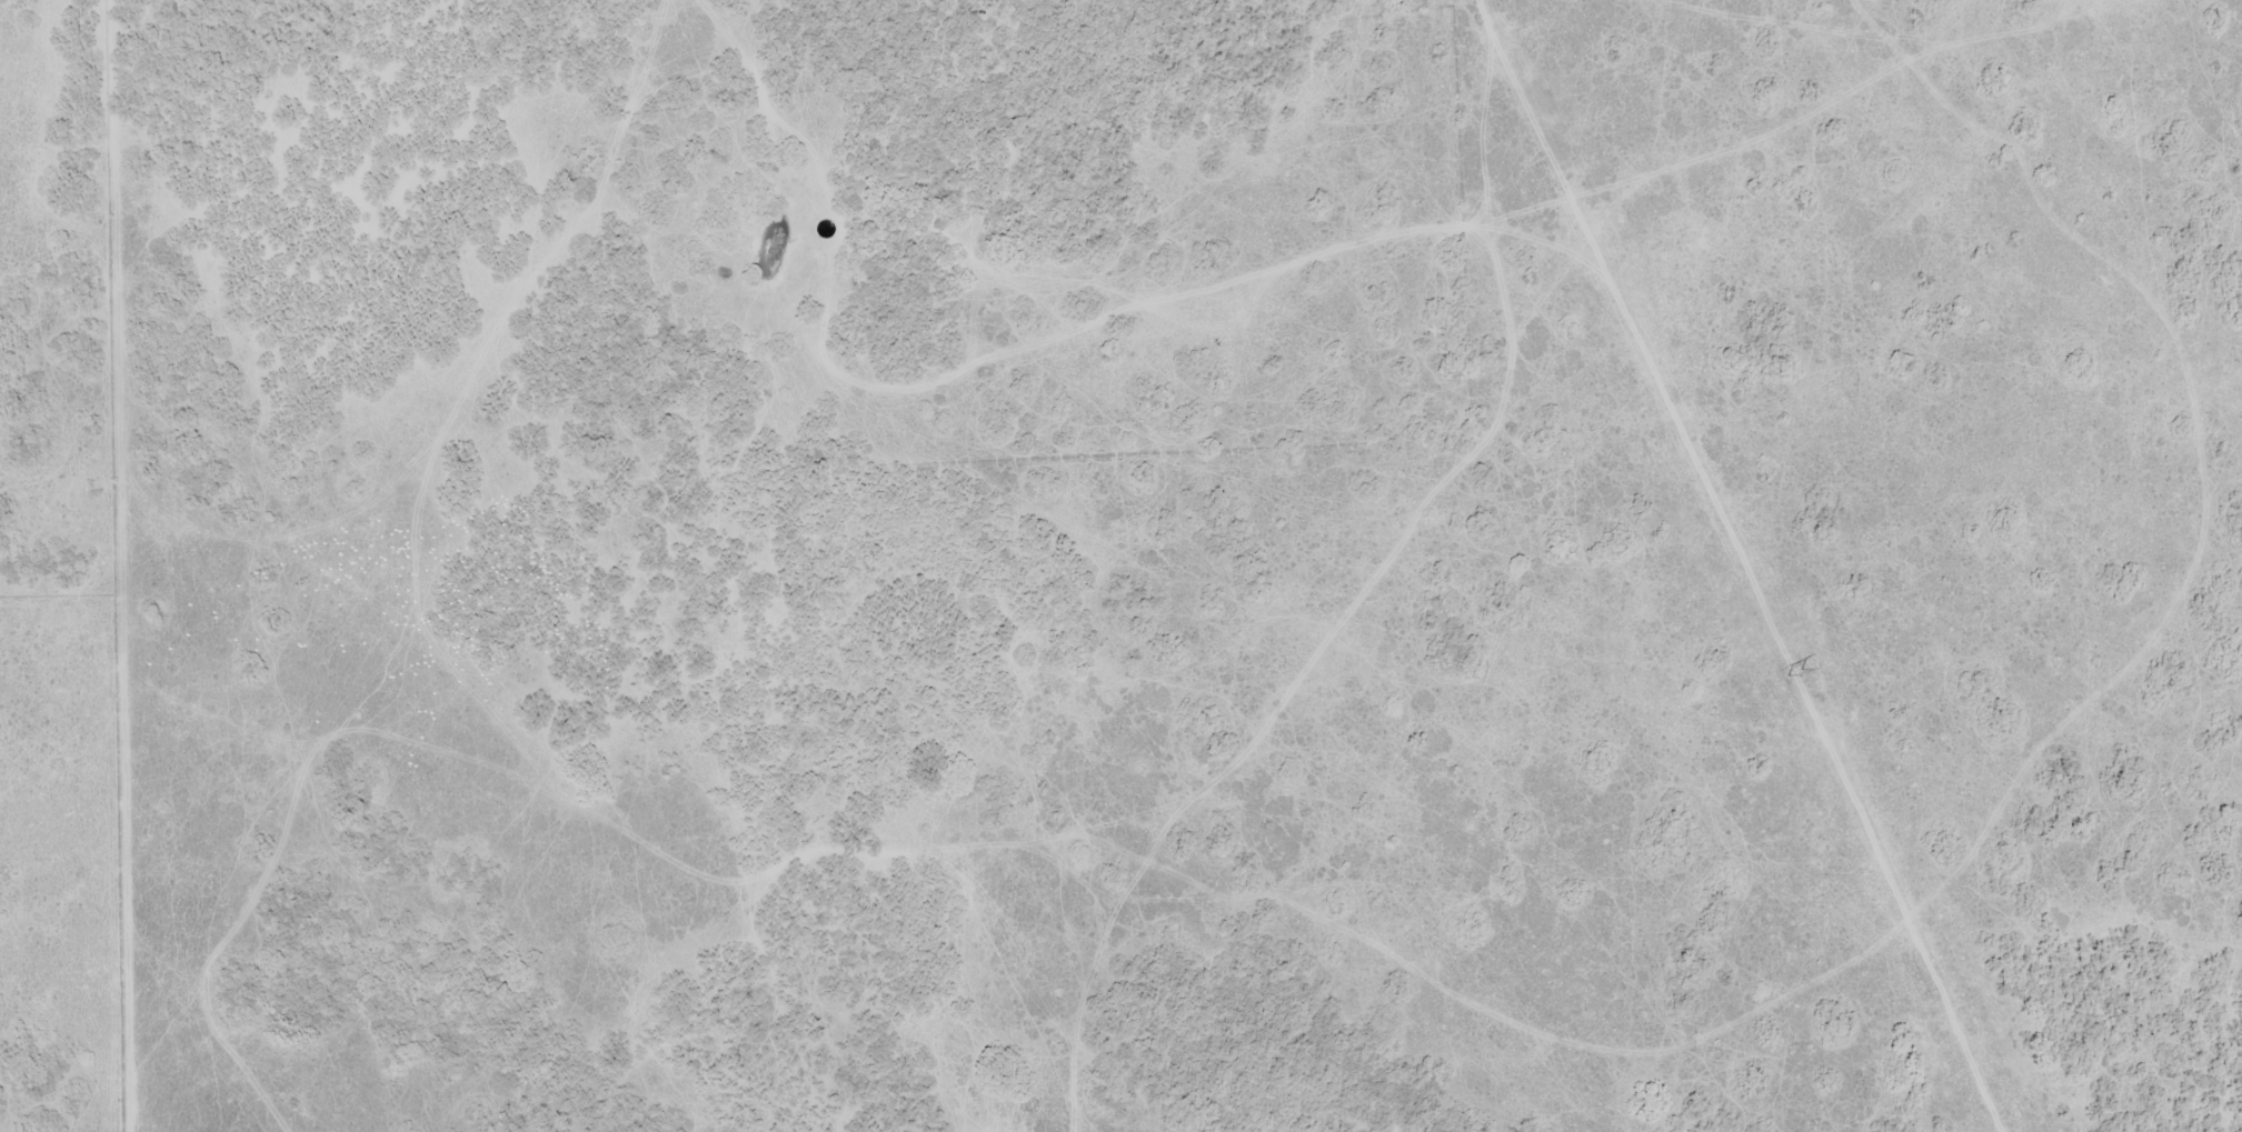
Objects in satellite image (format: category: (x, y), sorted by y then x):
road: (547, 270)
power tower: (1795, 673)
road: (899, 874)
road: (1157, 884)
road: (1097, 979)

